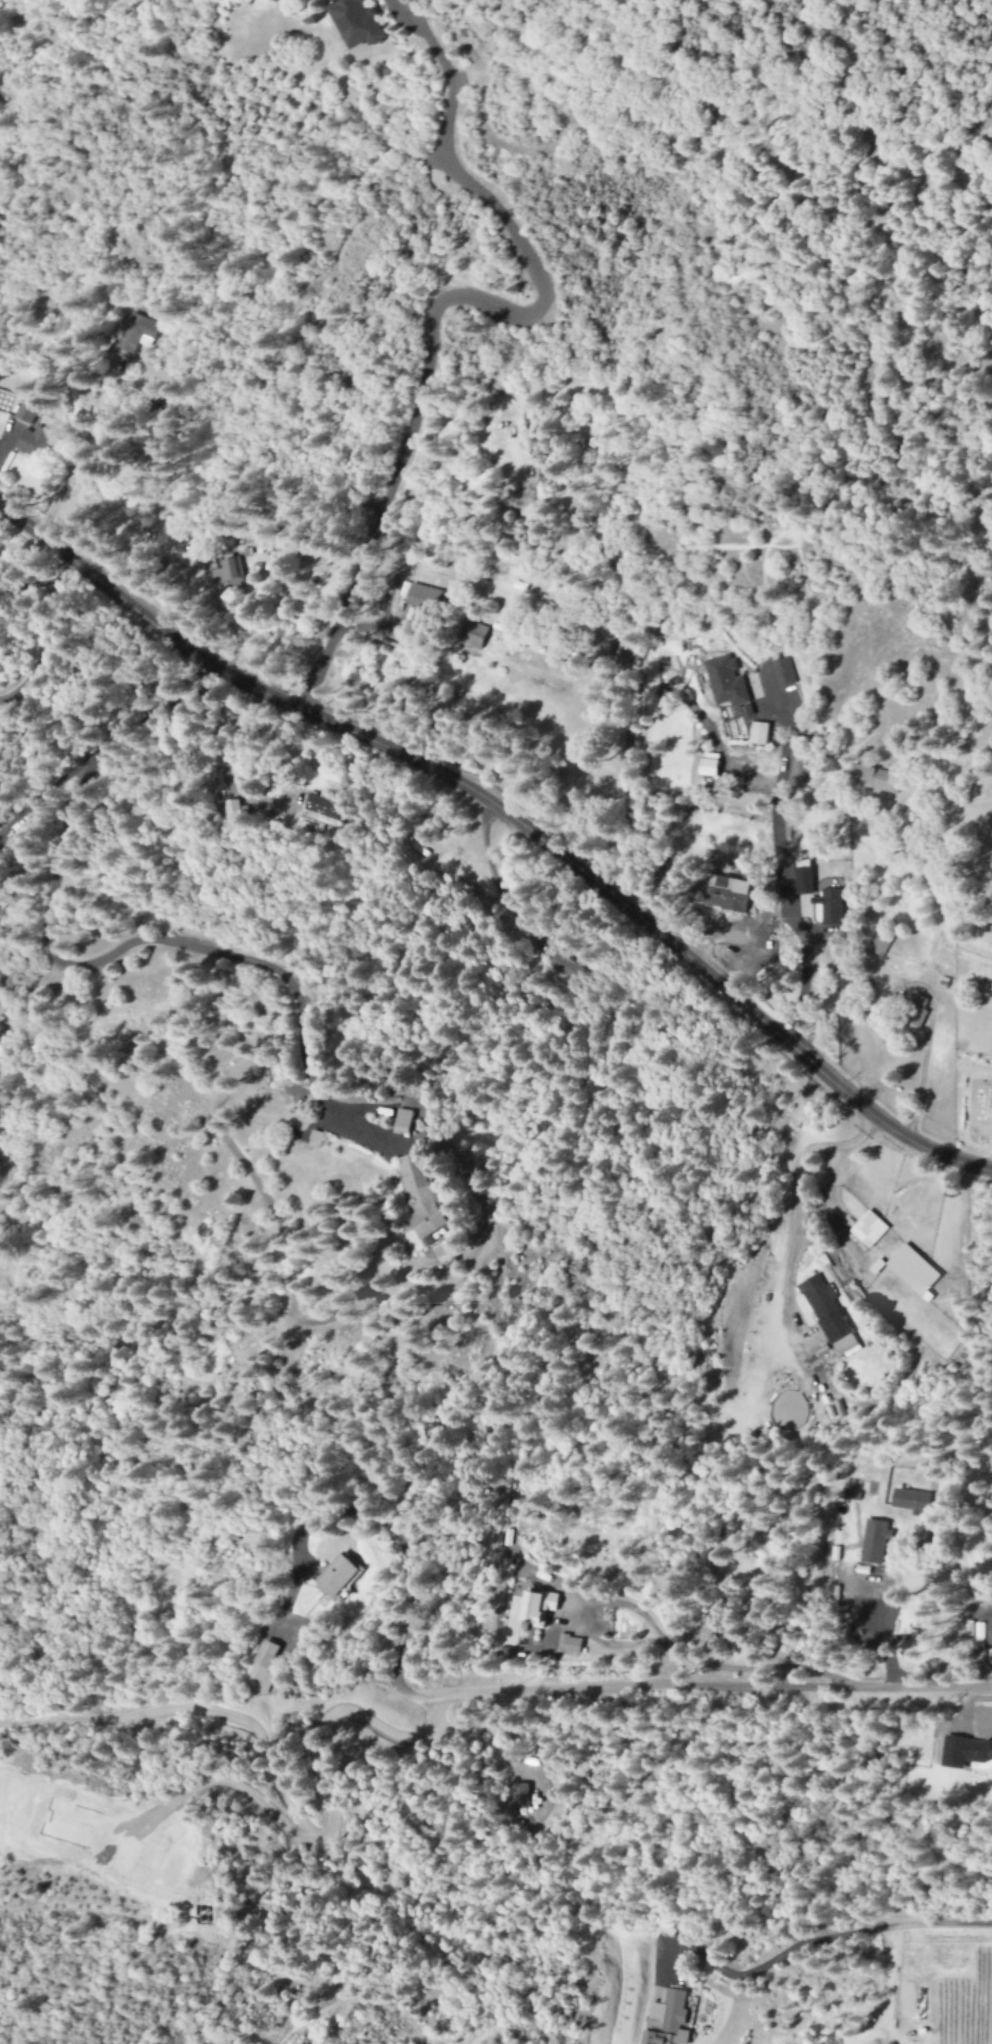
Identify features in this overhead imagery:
building: (354, 21)
road: (442, 296)
building: (136, 332)
building: (25, 414)
building: (28, 436)
building: (228, 572)
building: (420, 596)
building: (469, 634)
building: (781, 671)
building: (724, 681)
building: (758, 733)
building: (707, 765)
building: (873, 778)
building: (323, 805)
road: (511, 815)
building: (802, 877)
building: (726, 894)
building: (829, 906)
building: (877, 946)
building: (566, 969)
building: (913, 1012)
building: (397, 1122)
building: (309, 1140)
building: (414, 1196)
building: (867, 1229)
building: (912, 1271)
building: (828, 1316)
building: (849, 1494)
building: (910, 1500)
building: (872, 1541)
building: (330, 1574)
building: (535, 1606)
building: (989, 1638)
building: (568, 1644)
building: (259, 1667)
road: (692, 1685)
building: (964, 1751)
building: (519, 1795)
building: (666, 2019)

